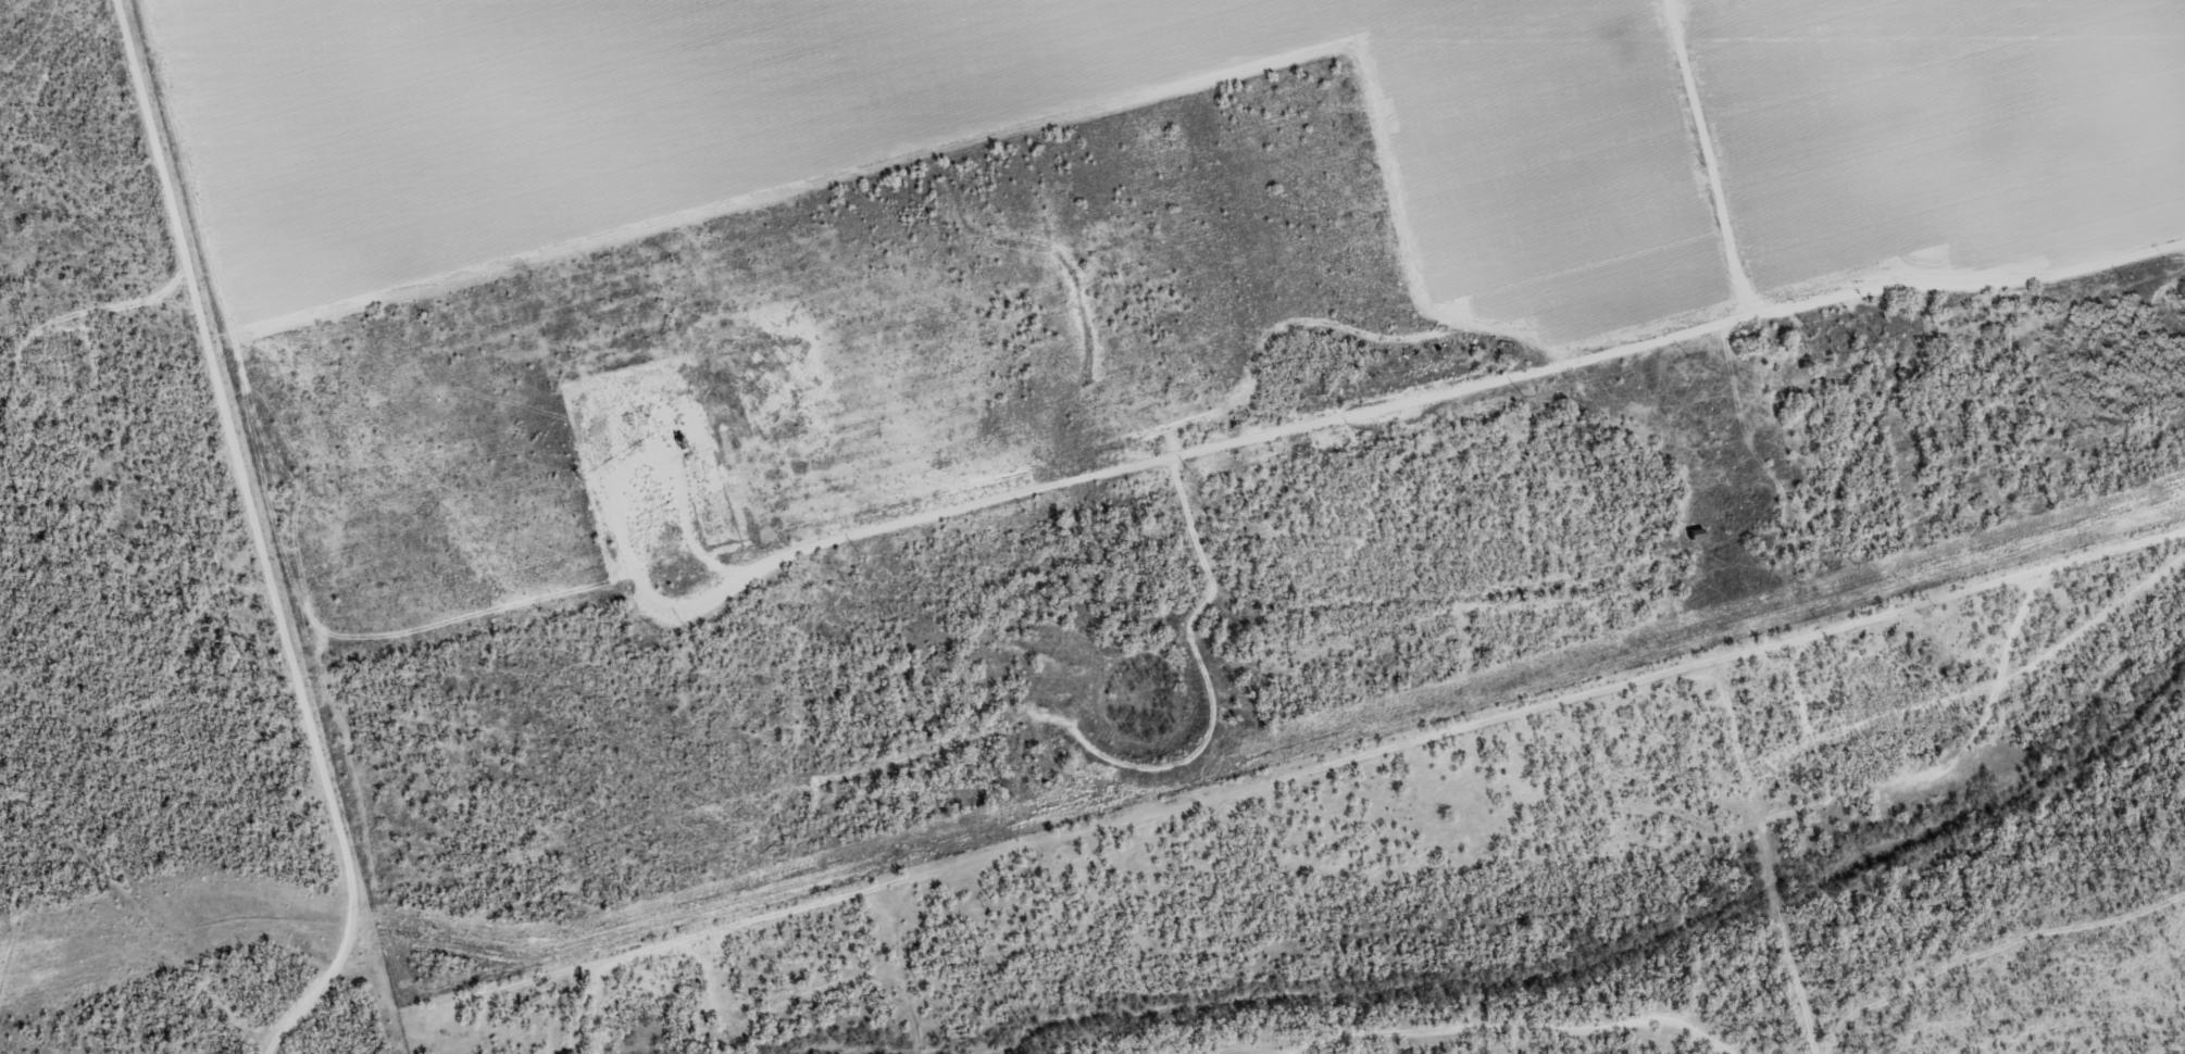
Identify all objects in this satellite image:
building: (1696, 534)

